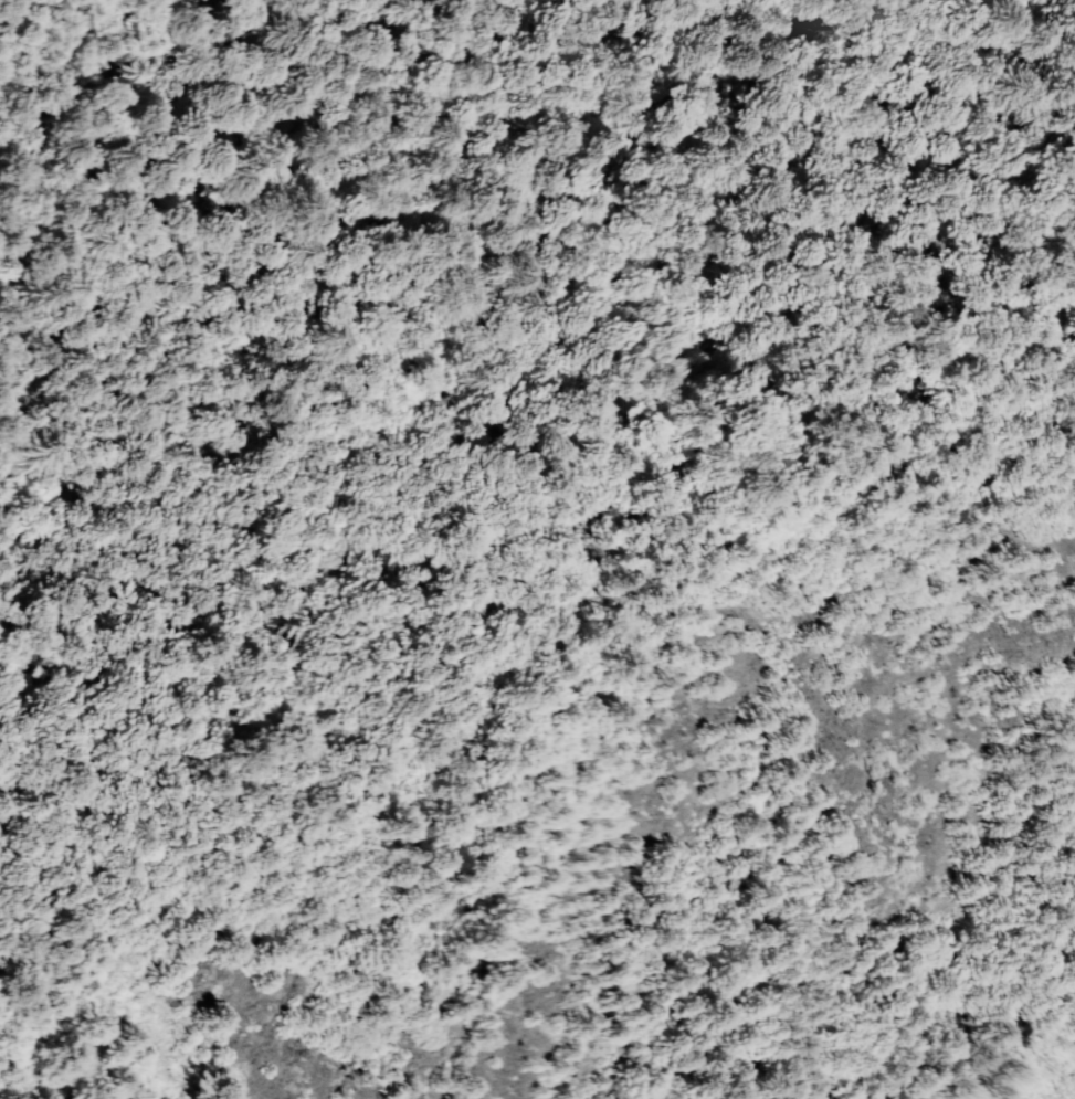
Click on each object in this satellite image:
road: (220, 150)
road: (556, 553)
road: (383, 784)

